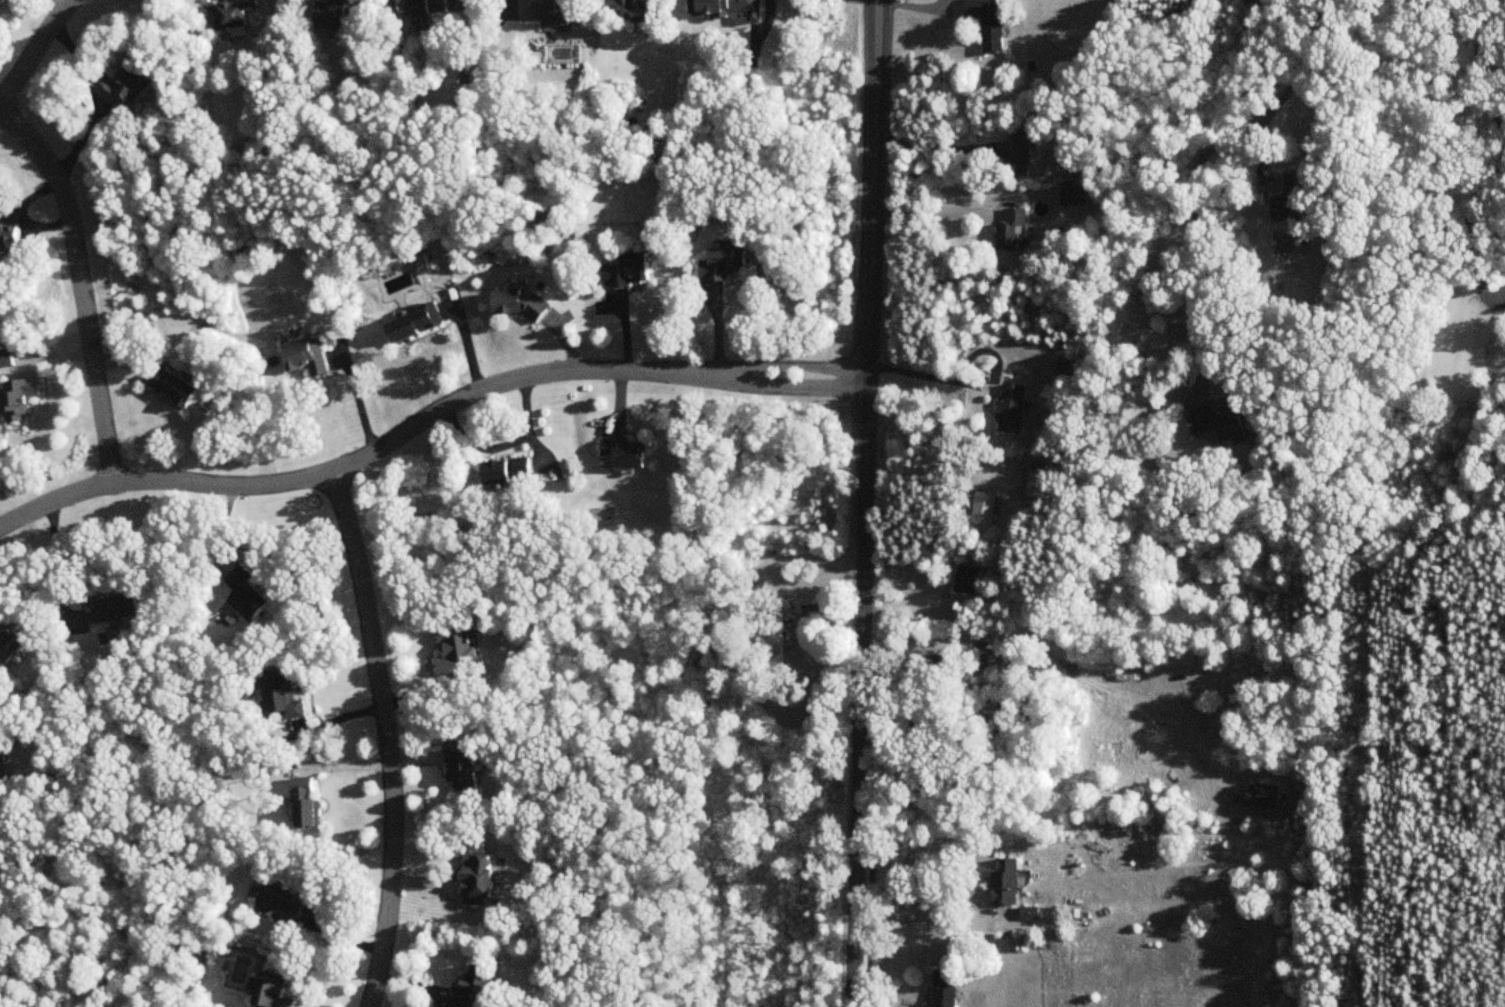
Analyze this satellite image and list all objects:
building: (426, 8)
building: (732, 9)
building: (637, 10)
building: (549, 12)
building: (340, 14)
building: (233, 15)
building: (990, 23)
road: (36, 51)
building: (127, 89)
building: (1027, 139)
road: (927, 149)
road: (1197, 168)
building: (1076, 198)
building: (1295, 201)
road: (927, 212)
building: (540, 216)
building: (1013, 230)
building: (9, 240)
building: (725, 265)
building: (630, 271)
road: (83, 284)
building: (521, 305)
building: (416, 325)
building: (308, 358)
building: (7, 361)
building: (1064, 374)
road: (928, 376)
building: (177, 388)
road: (355, 398)
building: (20, 401)
building: (1013, 410)
road: (426, 420)
building: (1224, 424)
building: (628, 455)
building: (510, 472)
road: (864, 503)
building: (986, 509)
road: (54, 564)
building: (968, 580)
building: (249, 596)
building: (115, 610)
building: (777, 645)
road: (916, 645)
building: (11, 647)
building: (460, 653)
building: (285, 700)
road: (388, 737)
building: (467, 771)
building: (1262, 796)
building: (308, 809)
building: (482, 881)
building: (1007, 884)
road: (918, 893)
building: (280, 901)
building: (1031, 914)
building: (475, 987)
building: (947, 989)
building: (275, 995)

